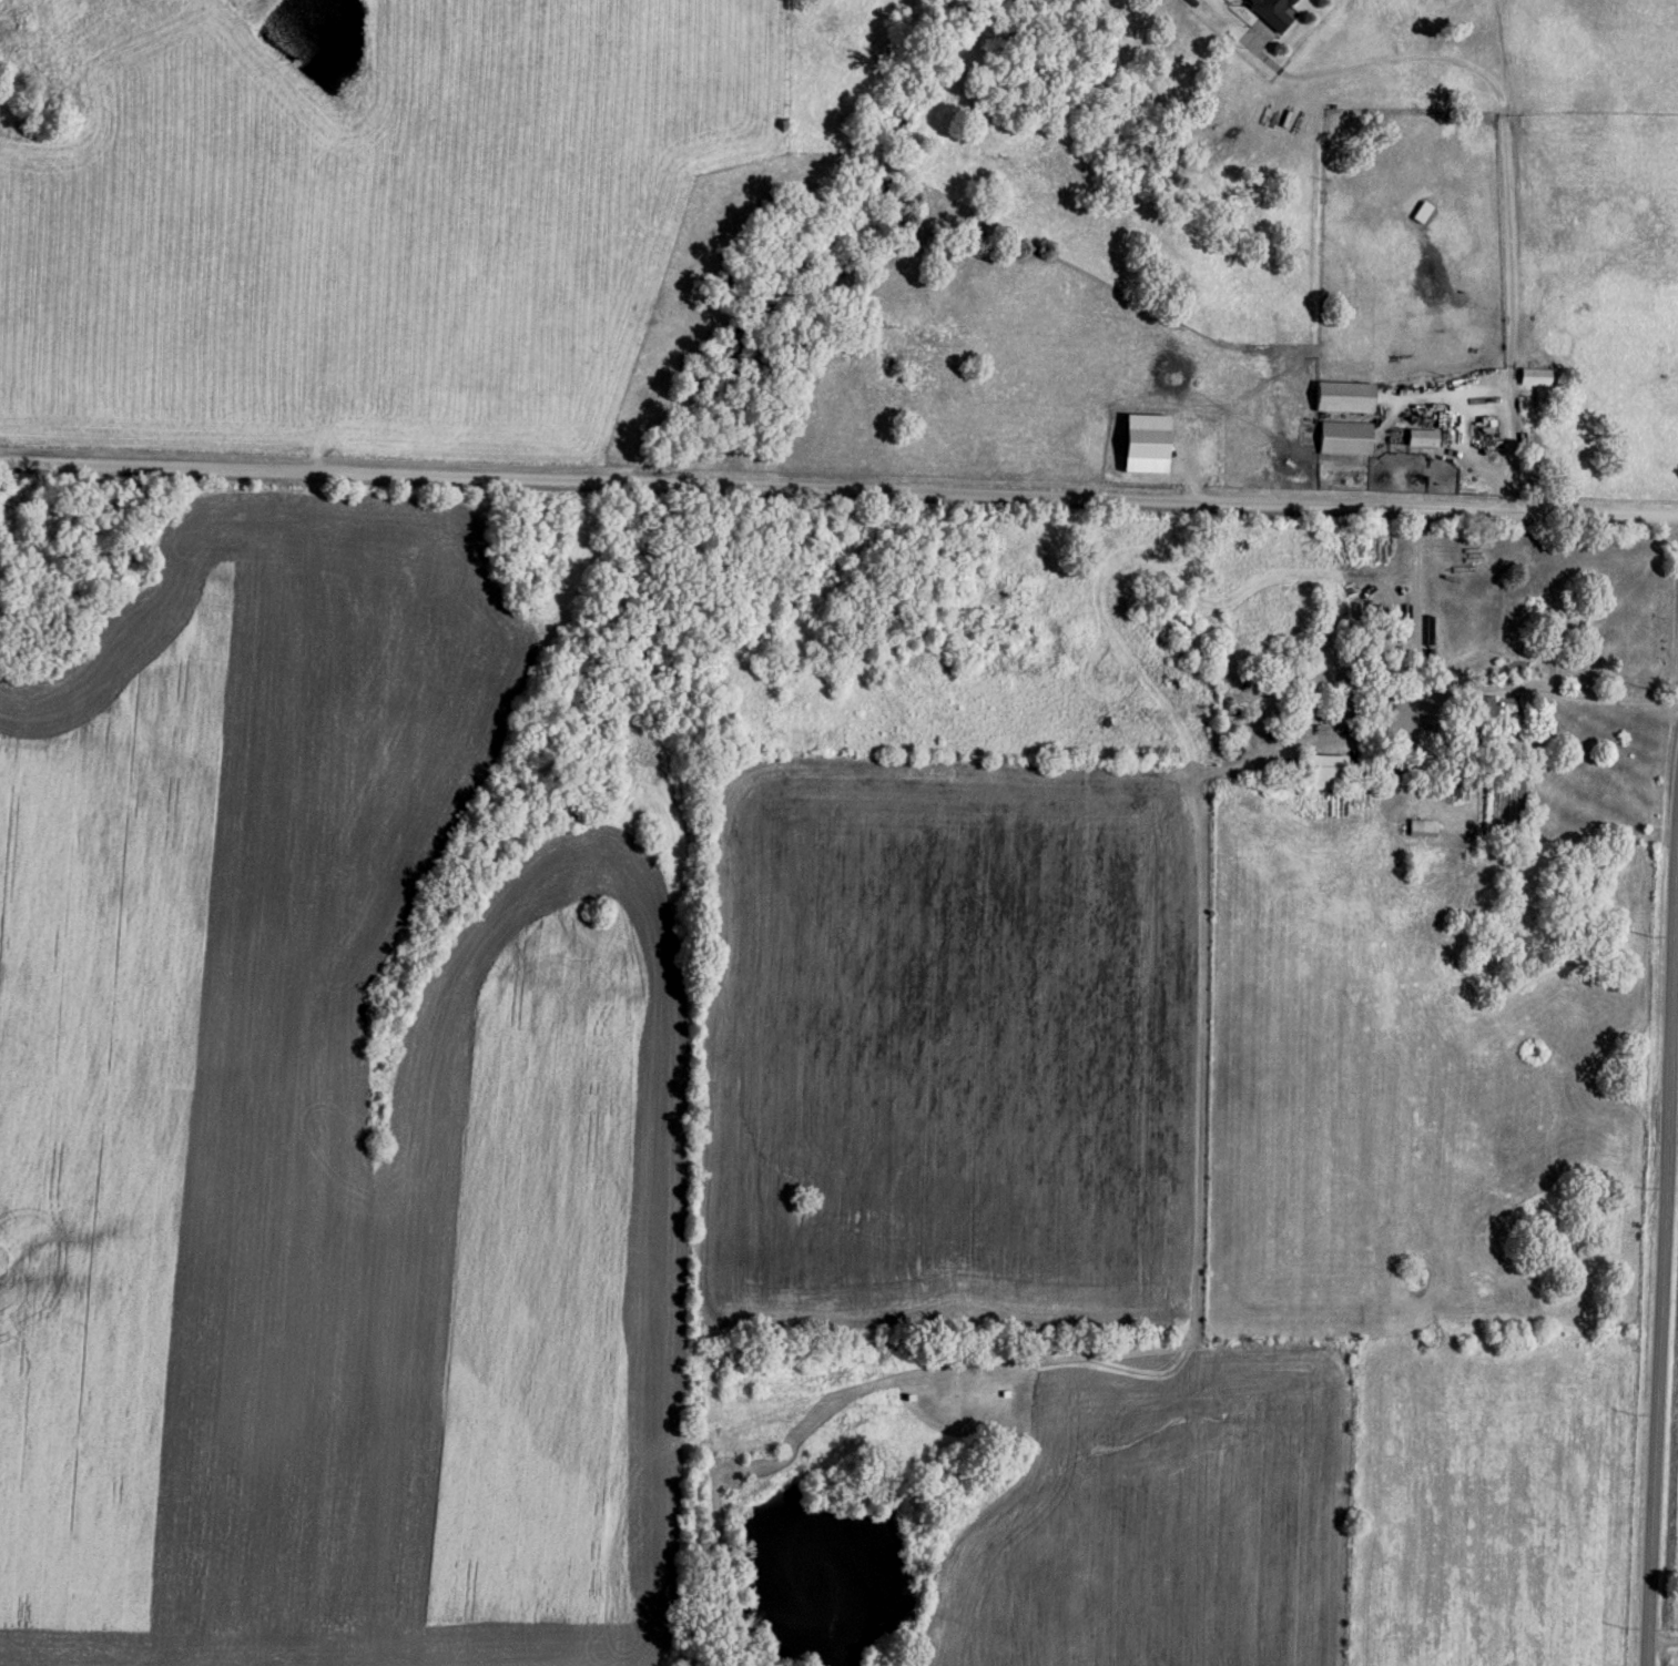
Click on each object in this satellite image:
building: (1270, 10)
road: (1501, 106)
building: (1534, 373)
building: (1342, 393)
road: (1456, 399)
building: (1343, 434)
building: (1421, 434)
building: (1141, 439)
road: (838, 490)
road: (1514, 497)
road: (1594, 694)
building: (1488, 709)
building: (1321, 769)
road: (1662, 1249)
road: (1665, 1638)

